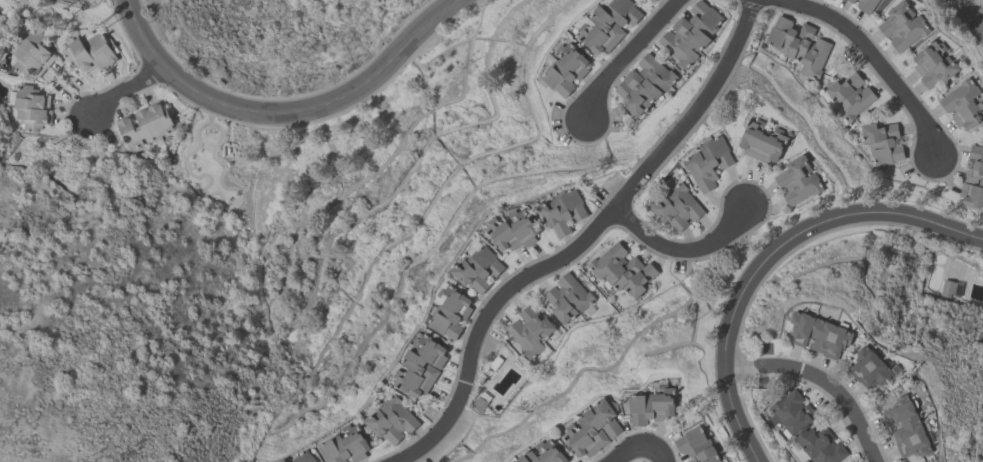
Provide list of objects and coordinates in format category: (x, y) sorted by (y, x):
building: (90, 0)
building: (652, 0)
building: (852, 0)
building: (866, 5)
road: (972, 12)
building: (608, 24)
building: (902, 25)
building: (690, 32)
building: (798, 44)
building: (90, 51)
building: (32, 53)
road: (621, 55)
building: (934, 63)
building: (566, 68)
road: (885, 70)
building: (643, 84)
road: (128, 87)
building: (849, 95)
building: (963, 103)
building: (31, 107)
road: (289, 110)
building: (145, 124)
building: (763, 140)
building: (882, 142)
building: (708, 162)
building: (798, 179)
building: (973, 179)
building: (677, 207)
building: (563, 210)
building: (513, 230)
road: (580, 242)
road: (681, 253)
road: (771, 257)
building: (478, 268)
building: (622, 270)
building: (946, 287)
building: (567, 297)
building: (450, 310)
building: (530, 330)
building: (820, 333)
building: (421, 367)
building: (873, 368)
road: (823, 381)
building: (479, 403)
building: (652, 405)
building: (392, 419)
building: (796, 424)
building: (907, 427)
building: (593, 428)
building: (346, 445)
building: (697, 445)
road: (633, 447)
building: (544, 453)
building: (303, 457)
building: (282, 460)
building: (693, 460)
building: (514, 461)

